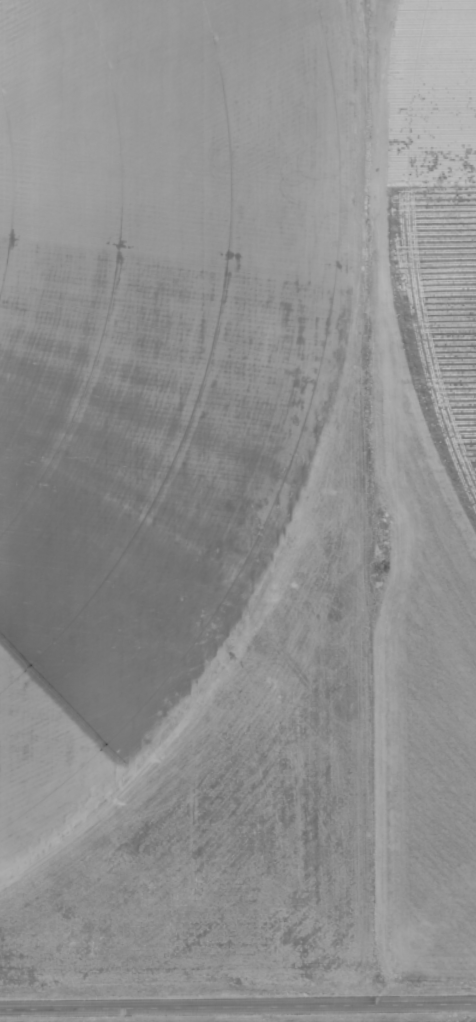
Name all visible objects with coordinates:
road: (238, 1008)

